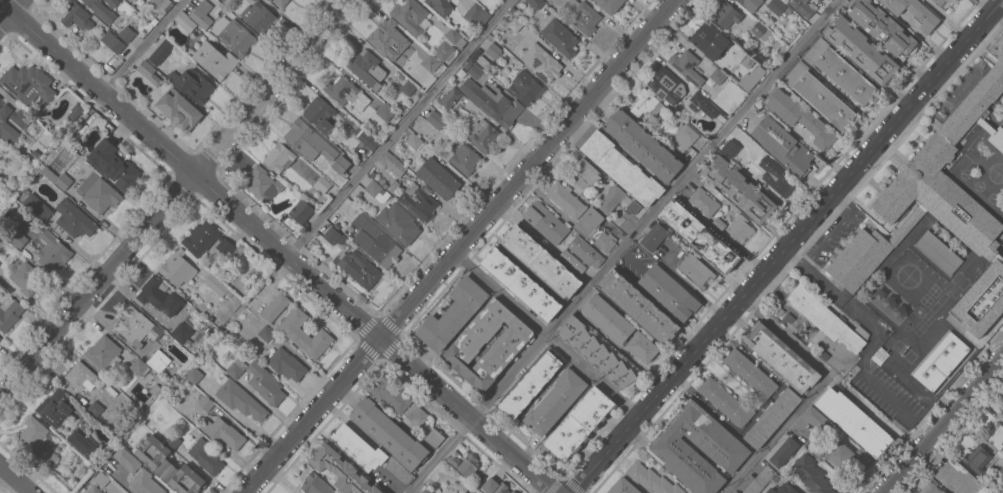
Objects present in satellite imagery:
building: (126, 0)
building: (251, 0)
building: (256, 0)
building: (829, 0)
building: (943, 1)
building: (112, 3)
building: (281, 3)
building: (536, 3)
building: (750, 4)
building: (163, 5)
building: (609, 5)
building: (442, 7)
building: (775, 7)
building: (803, 7)
building: (100, 10)
road: (9, 11)
building: (913, 12)
building: (201, 14)
building: (410, 15)
building: (476, 15)
building: (725, 15)
building: (582, 16)
building: (76, 17)
building: (258, 17)
building: (515, 24)
building: (189, 25)
building: (882, 27)
building: (760, 31)
building: (126, 34)
building: (385, 37)
building: (454, 37)
building: (559, 37)
building: (236, 38)
building: (709, 41)
building: (112, 42)
road: (143, 46)
building: (861, 49)
building: (443, 51)
building: (492, 51)
building: (161, 52)
building: (215, 60)
building: (430, 62)
building: (541, 63)
building: (685, 65)
building: (366, 68)
building: (145, 69)
building: (840, 71)
building: (477, 74)
building: (717, 76)
building: (751, 78)
building: (27, 84)
building: (193, 85)
building: (666, 86)
building: (524, 87)
building: (408, 88)
building: (346, 93)
building: (819, 96)
building: (449, 98)
building: (696, 101)
building: (492, 103)
building: (170, 104)
building: (645, 104)
building: (75, 112)
building: (385, 112)
building: (319, 114)
building: (800, 117)
building: (13, 118)
building: (435, 120)
road: (399, 128)
building: (481, 134)
building: (301, 136)
building: (685, 136)
building: (368, 141)
building: (414, 141)
building: (642, 145)
building: (783, 146)
building: (730, 148)
building: (279, 157)
building: (464, 159)
building: (342, 163)
building: (390, 163)
building: (114, 165)
building: (621, 169)
building: (585, 174)
building: (777, 176)
building: (56, 178)
building: (438, 178)
building: (262, 184)
building: (323, 185)
building: (739, 190)
building: (377, 191)
building: (98, 193)
road: (174, 198)
building: (611, 199)
building: (565, 200)
building: (418, 201)
building: (703, 202)
building: (37, 207)
road: (552, 207)
building: (632, 208)
road: (658, 210)
building: (939, 210)
building: (353, 211)
building: (301, 212)
building: (592, 217)
building: (74, 219)
building: (398, 223)
building: (545, 223)
building: (740, 228)
road: (833, 231)
building: (333, 236)
building: (654, 237)
building: (699, 237)
building: (18, 240)
building: (206, 240)
building: (605, 242)
road: (277, 247)
road: (462, 247)
road: (788, 247)
building: (381, 248)
building: (52, 252)
building: (585, 252)
building: (938, 252)
building: (540, 261)
building: (571, 261)
building: (178, 268)
building: (358, 268)
building: (695, 270)
building: (26, 279)
building: (216, 285)
building: (520, 285)
building: (669, 292)
building: (159, 297)
building: (638, 306)
building: (275, 307)
building: (9, 313)
building: (452, 315)
building: (825, 318)
building: (608, 319)
road: (873, 324)
building: (137, 326)
building: (181, 333)
building: (266, 334)
building: (304, 334)
road: (545, 337)
building: (0, 338)
road: (791, 342)
building: (508, 344)
building: (642, 347)
building: (595, 352)
building: (103, 354)
building: (877, 356)
building: (780, 357)
building: (158, 361)
building: (940, 362)
building: (286, 364)
building: (139, 367)
building: (235, 369)
building: (750, 374)
building: (193, 375)
building: (82, 377)
building: (265, 384)
building: (531, 384)
building: (390, 394)
building: (239, 399)
building: (555, 402)
building: (726, 402)
building: (205, 404)
building: (1002, 405)
building: (54, 408)
building: (94, 410)
building: (1002, 411)
building: (1002, 413)
building: (416, 416)
building: (772, 417)
building: (815, 418)
building: (854, 422)
building: (578, 424)
road: (943, 424)
building: (223, 433)
building: (388, 434)
building: (995, 436)
building: (434, 438)
road: (775, 439)
building: (172, 441)
building: (36, 442)
building: (82, 443)
building: (357, 448)
building: (696, 448)
building: (783, 452)
road: (439, 455)
building: (205, 456)
building: (848, 457)
building: (126, 459)
building: (977, 459)
building: (467, 463)
building: (167, 466)
building: (341, 470)
building: (399, 471)
building: (811, 475)
building: (958, 478)
road: (14, 479)
building: (99, 479)
building: (651, 479)
building: (761, 480)
building: (145, 483)
building: (315, 484)
building: (495, 486)
building: (623, 487)
building: (1002, 487)
building: (783, 489)
building: (931, 489)
building: (93, 490)
road: (113, 491)
building: (425, 491)
building: (512, 492)
building: (731, 492)

